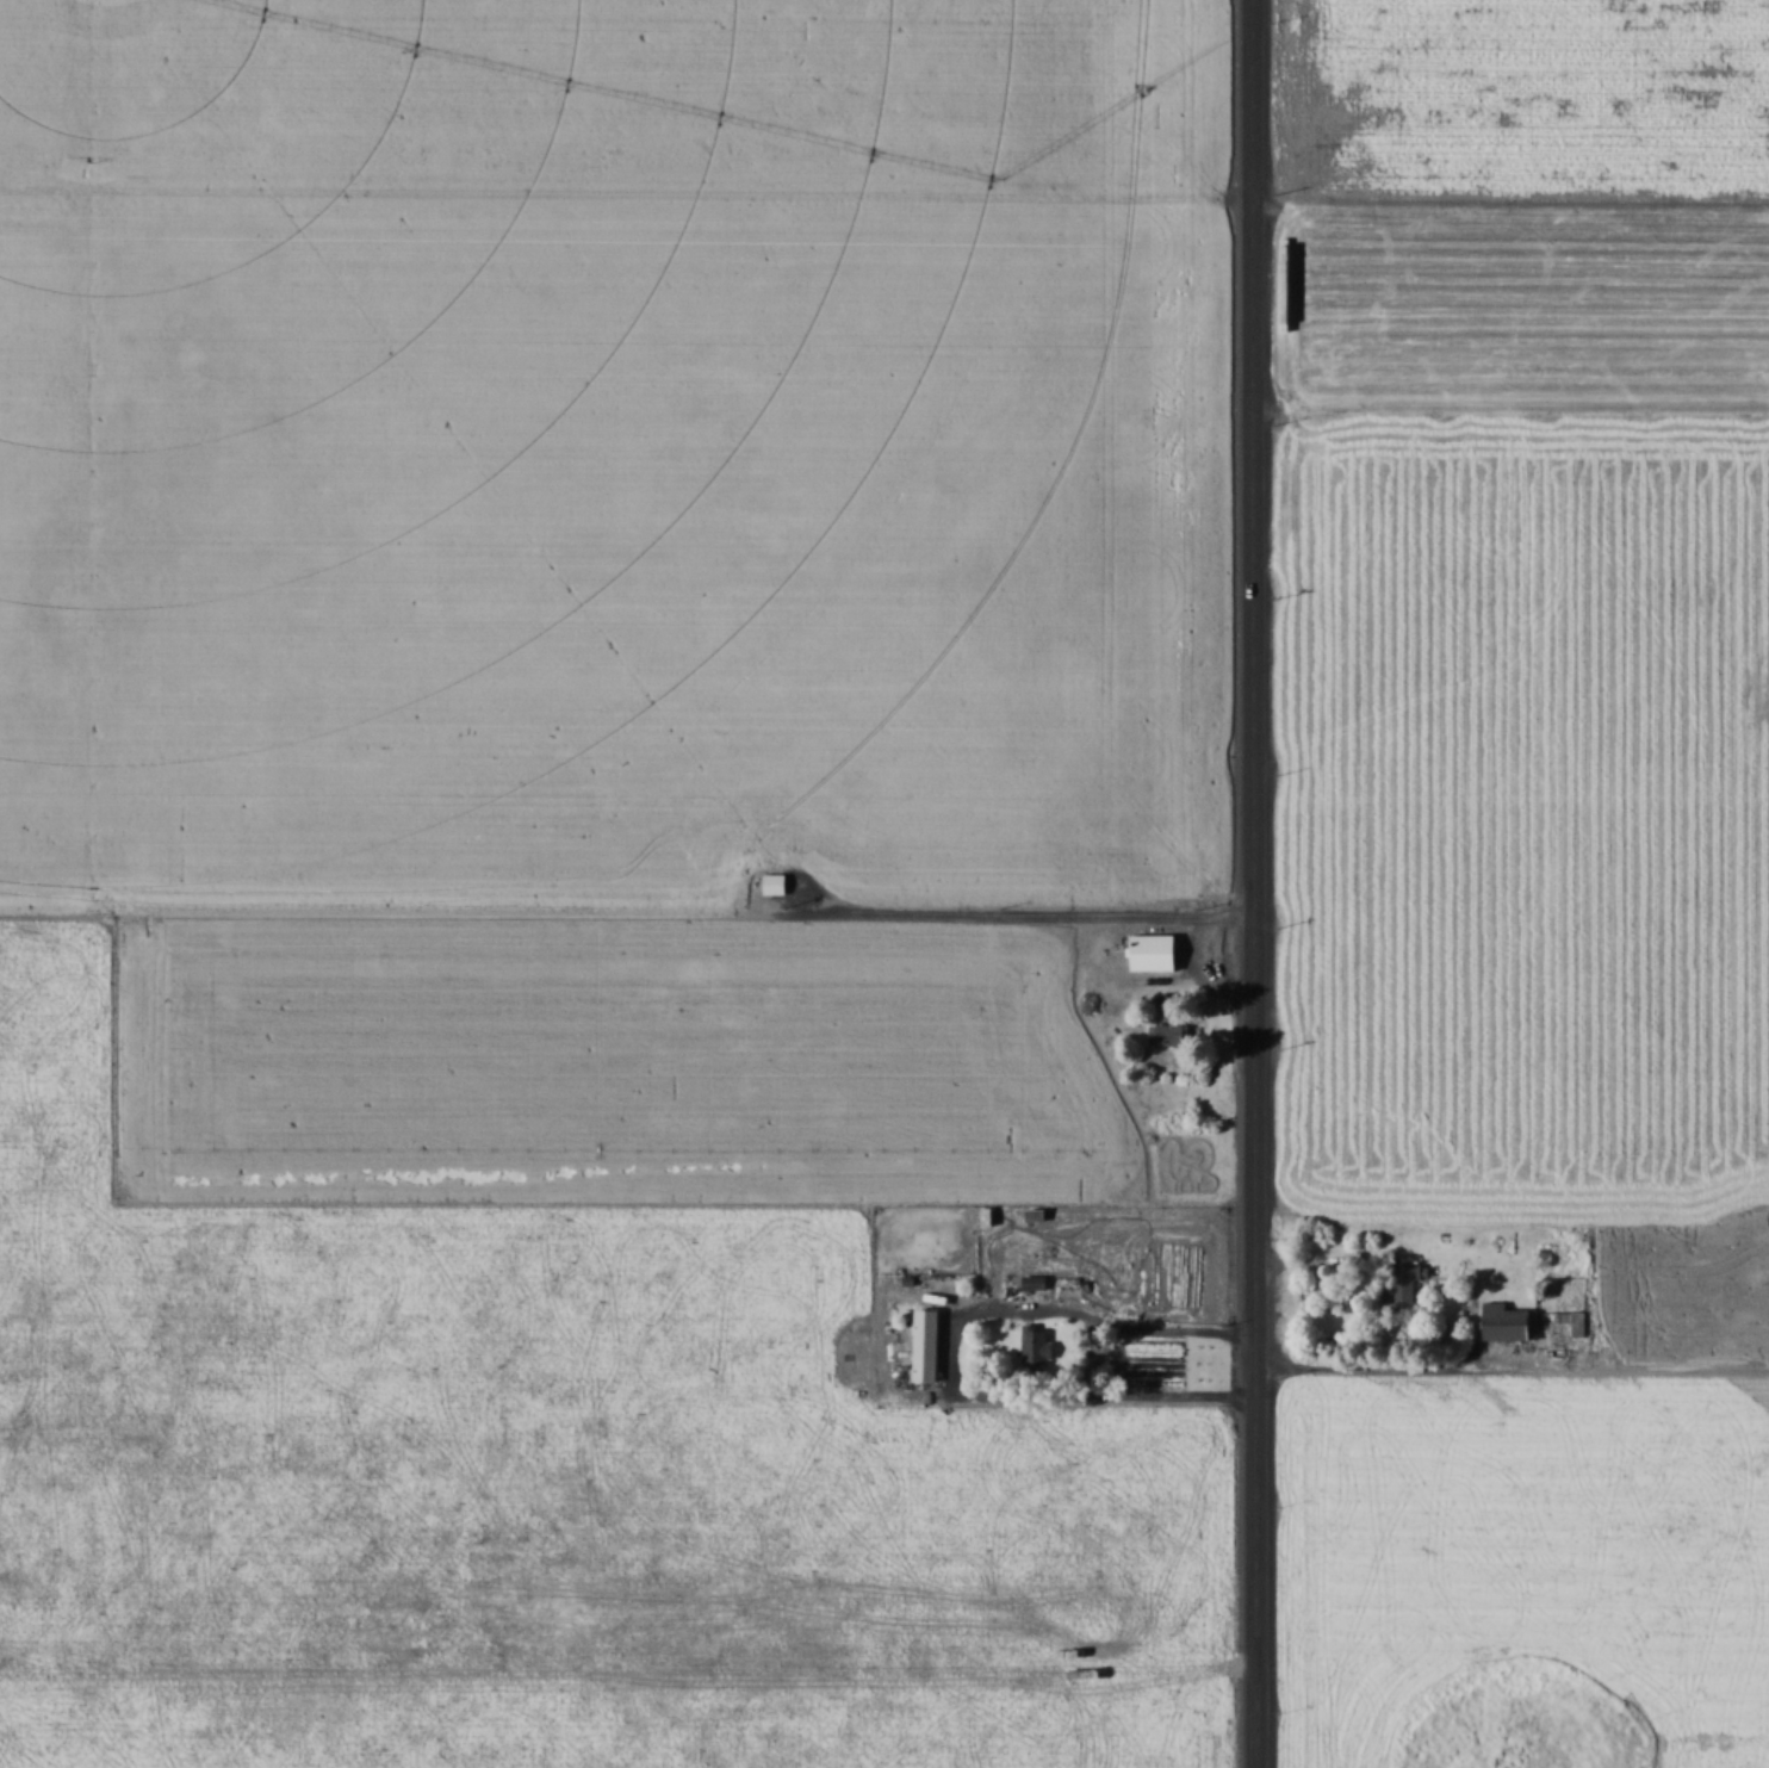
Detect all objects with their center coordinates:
building: (777, 882)
road: (1247, 883)
building: (1157, 951)
building: (1171, 1034)
building: (1038, 1212)
building: (1759, 1220)
building: (1404, 1279)
building: (1035, 1283)
building: (1512, 1323)
building: (927, 1345)
road: (864, 1361)

